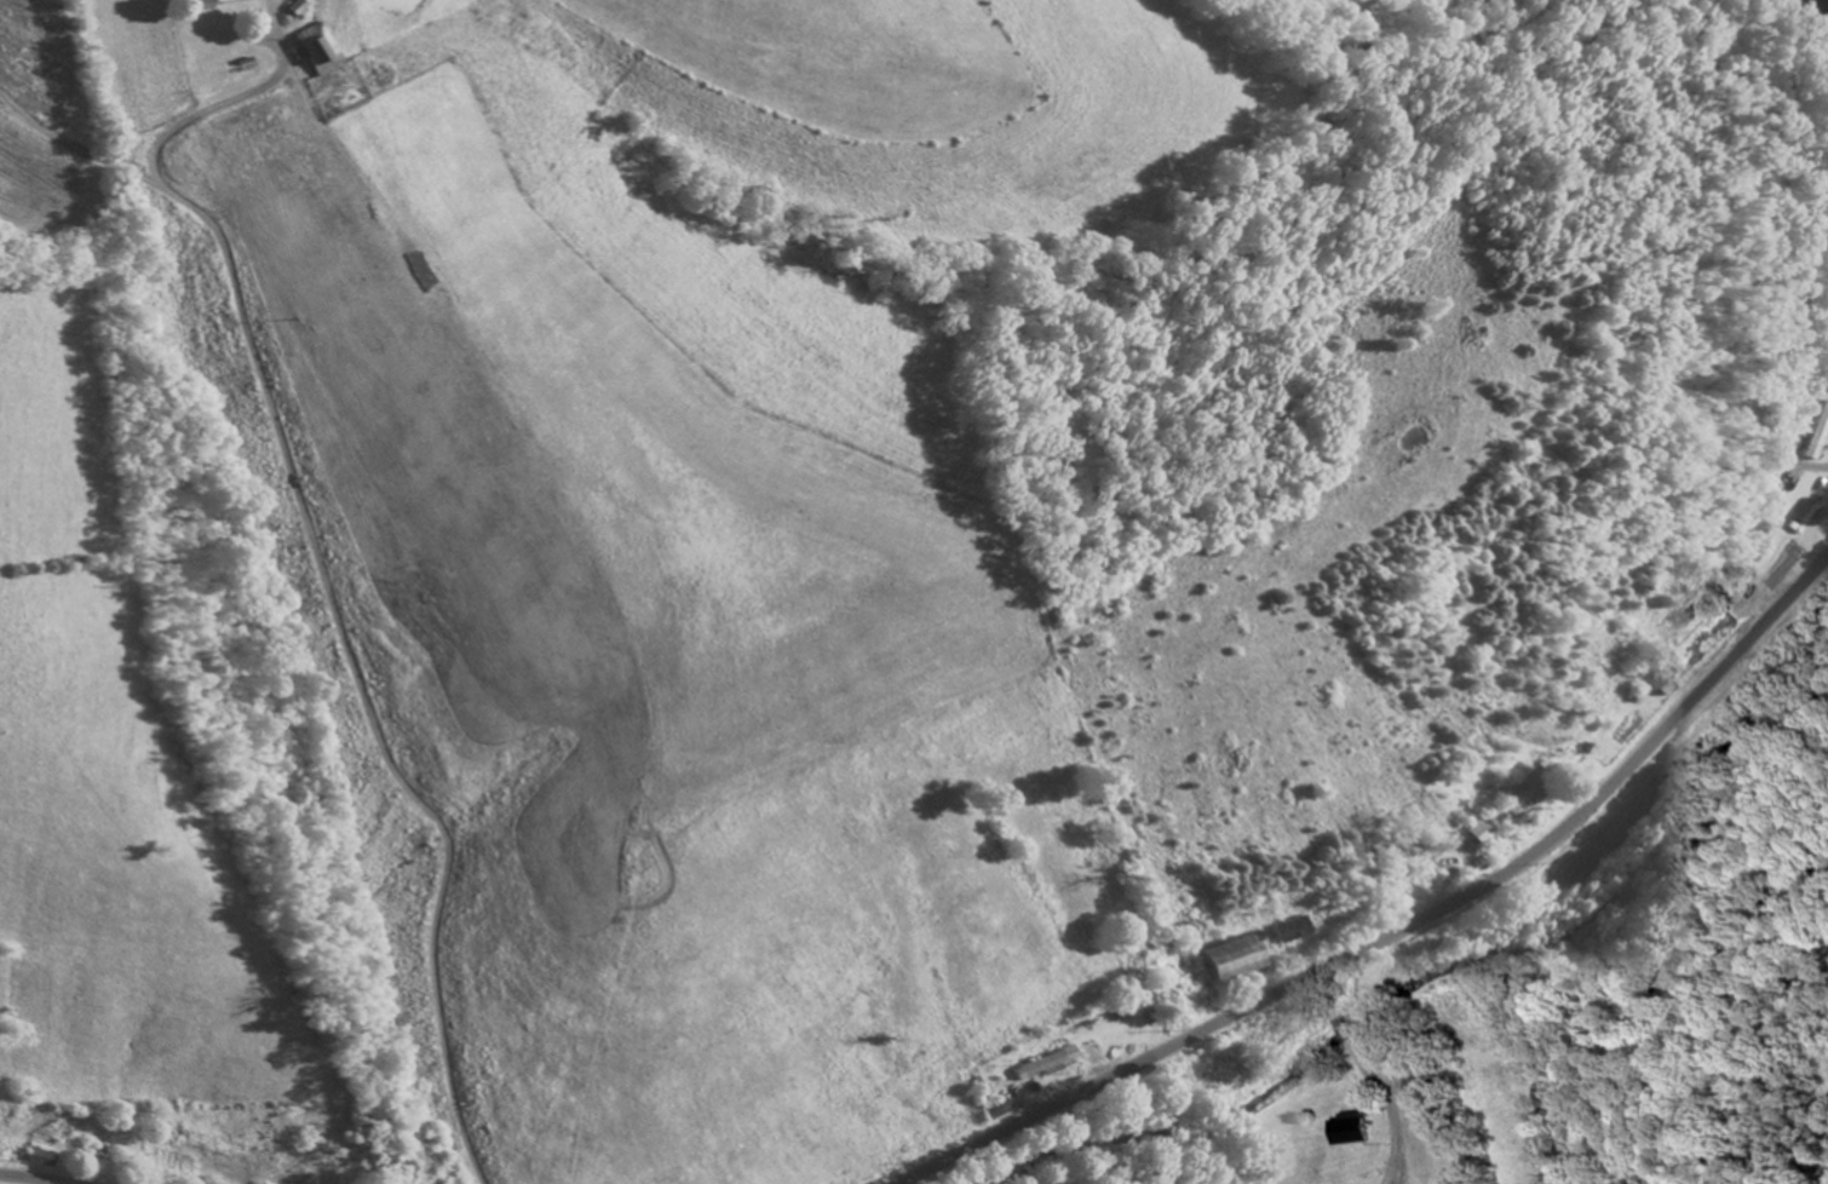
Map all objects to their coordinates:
building: (206, 4)
building: (322, 48)
building: (1820, 436)
road: (390, 565)
building: (1671, 676)
building: (1521, 793)
road: (1404, 925)
building: (1295, 927)
building: (1240, 955)
building: (1104, 1053)
building: (1046, 1065)
road: (1341, 1065)
building: (1421, 1085)
building: (1352, 1127)
building: (173, 1160)
road: (33, 1178)

